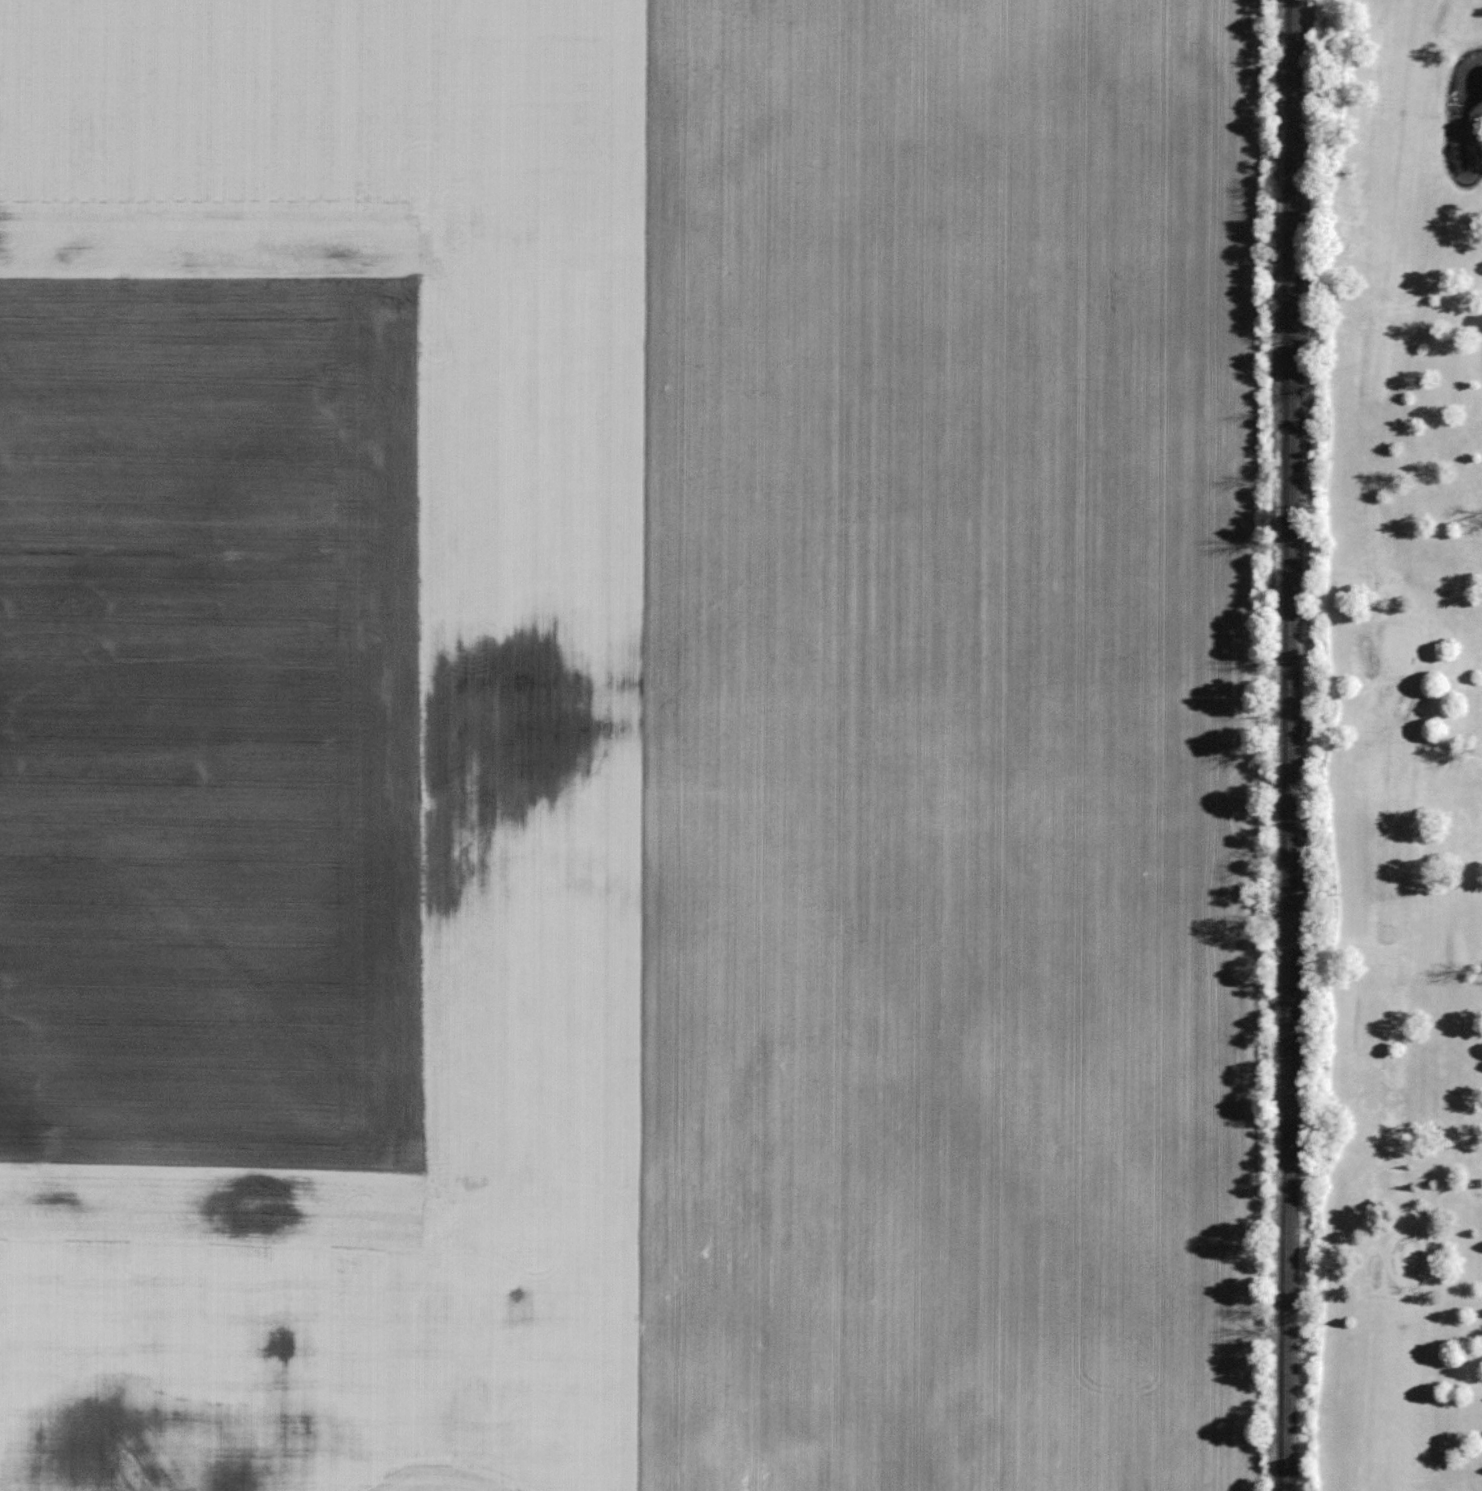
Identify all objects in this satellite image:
railway: (1291, 745)

